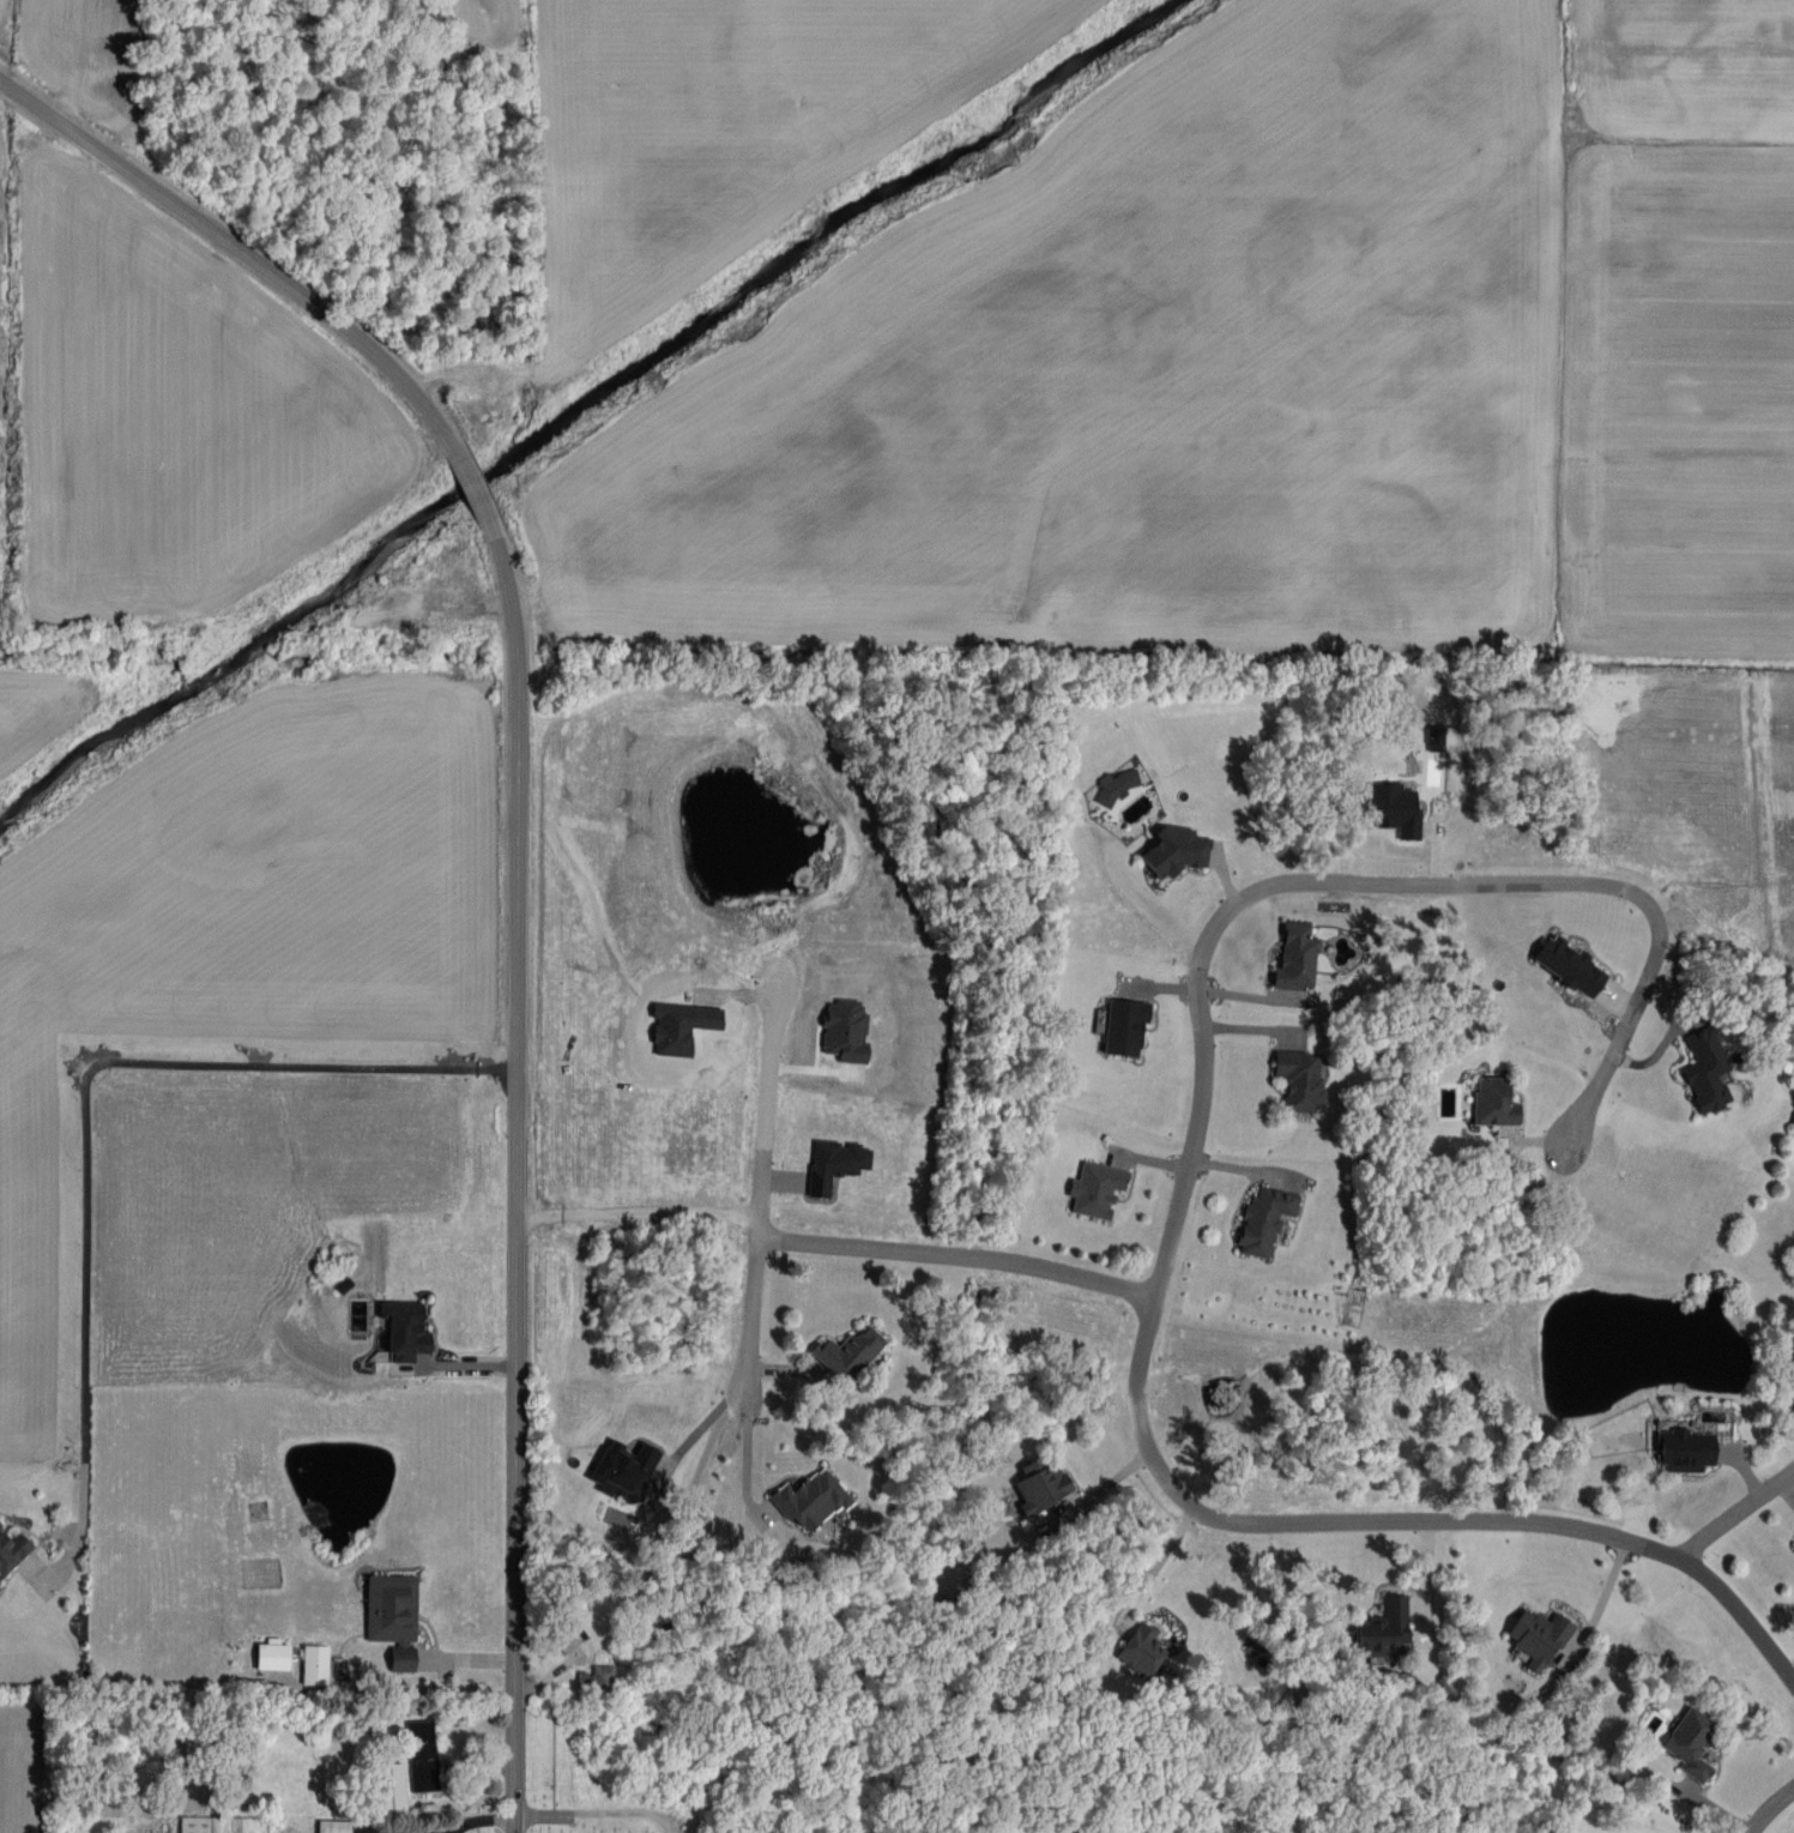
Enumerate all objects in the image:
crop: (490, 13)
crop: (4, 26)
crop: (96, 56)
crop: (1678, 67)
crop: (695, 107)
crop: (1171, 382)
crop: (1673, 392)
crop: (164, 411)
crop: (36, 711)
crop: (1692, 771)
building: (1116, 786)
building: (1393, 809)
road: (513, 843)
building: (1173, 851)
crop: (236, 942)
building: (1295, 958)
building: (1566, 965)
building: (1123, 1026)
building: (845, 1032)
building: (1704, 1073)
building: (1299, 1085)
building: (1493, 1105)
road: (85, 1114)
building: (834, 1164)
building: (1095, 1189)
road: (762, 1190)
road: (1180, 1195)
road: (636, 1210)
building: (1264, 1219)
crop: (300, 1232)
road: (959, 1256)
building: (401, 1332)
building: (846, 1352)
building: (1683, 1451)
building: (621, 1470)
building: (1037, 1489)
road: (1098, 1490)
building: (810, 1501)
road: (1736, 1517)
building: (12, 1549)
road: (1158, 1567)
building: (393, 1605)
building: (1387, 1629)
building: (570, 1638)
building: (1536, 1638)
building: (1144, 1644)
building: (270, 1658)
building: (400, 1660)
building: (315, 1664)
building: (604, 1675)
building: (1690, 1744)
building: (423, 1749)
crop: (14, 1766)
building: (389, 1784)
road: (1769, 1808)
road: (596, 1810)
building: (222, 1822)
building: (333, 1825)

